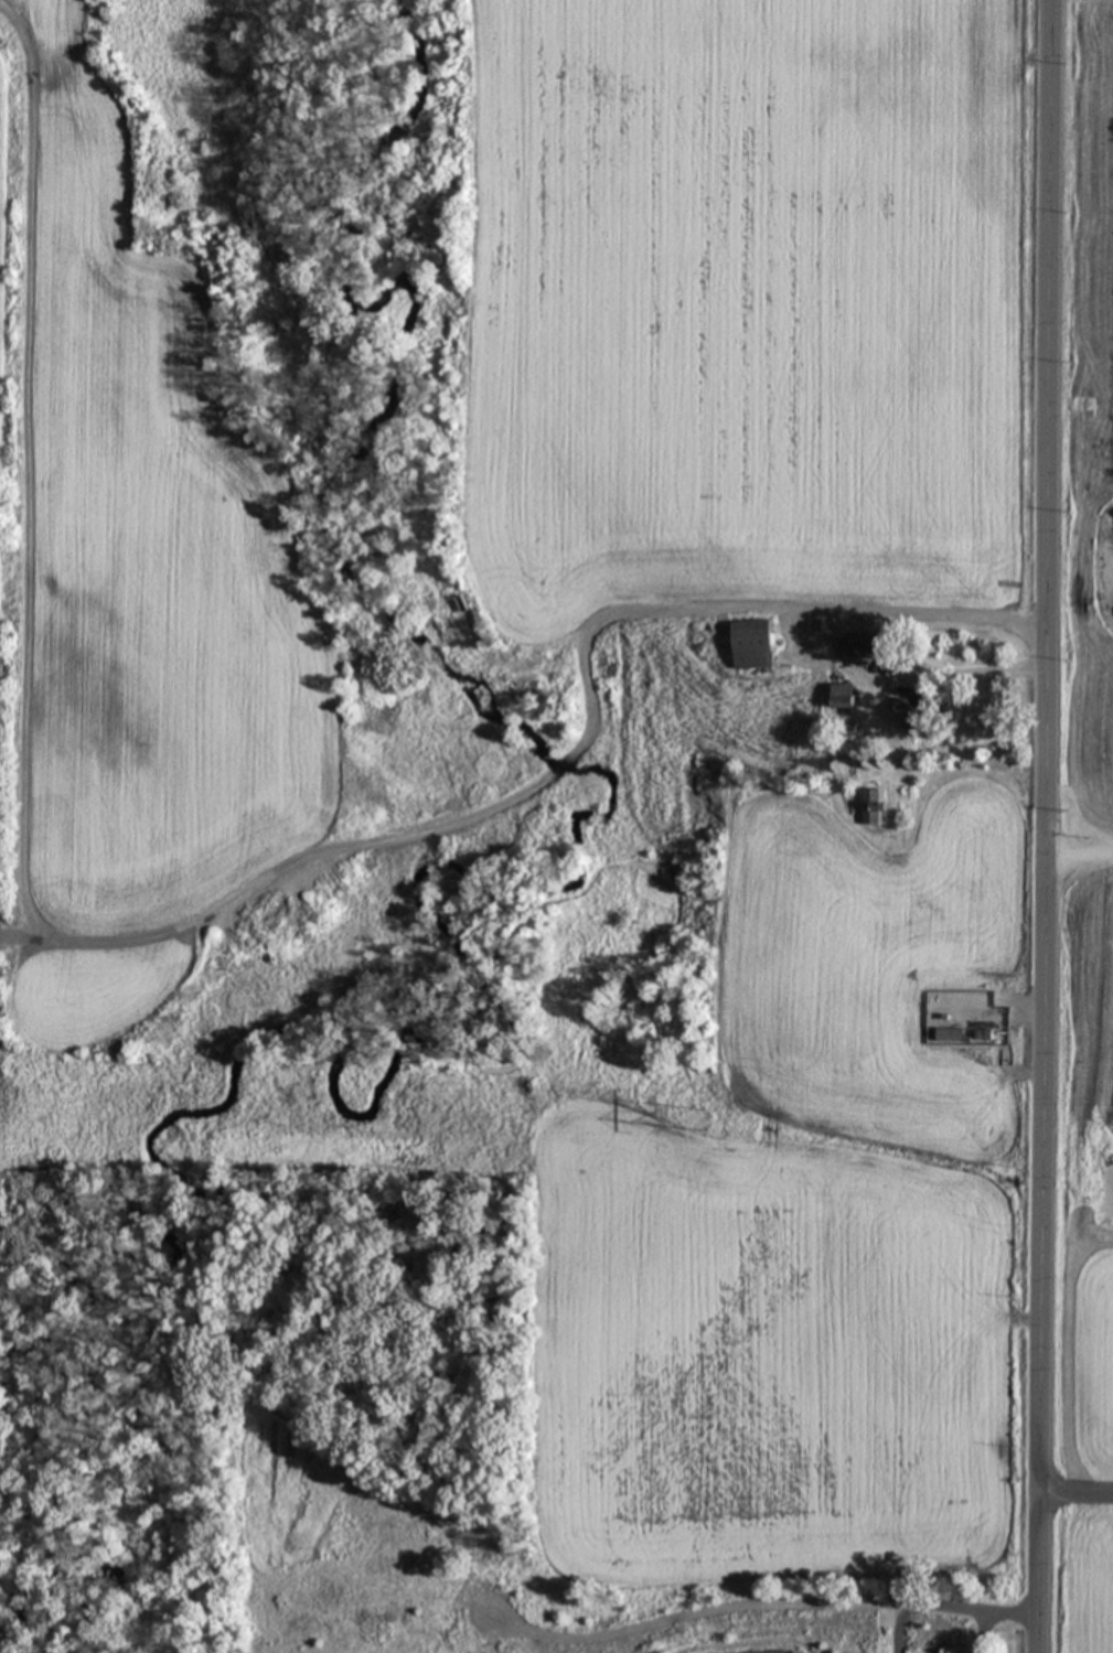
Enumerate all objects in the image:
road: (888, 610)
building: (755, 644)
building: (869, 645)
road: (973, 674)
building: (843, 695)
building: (918, 707)
building: (873, 806)
road: (1046, 826)
road: (1079, 861)
road: (993, 1017)
power tower: (8, 1113)
power tower: (710, 1119)
road: (1077, 1495)
road: (759, 1602)
road: (898, 1628)
road: (983, 1632)

